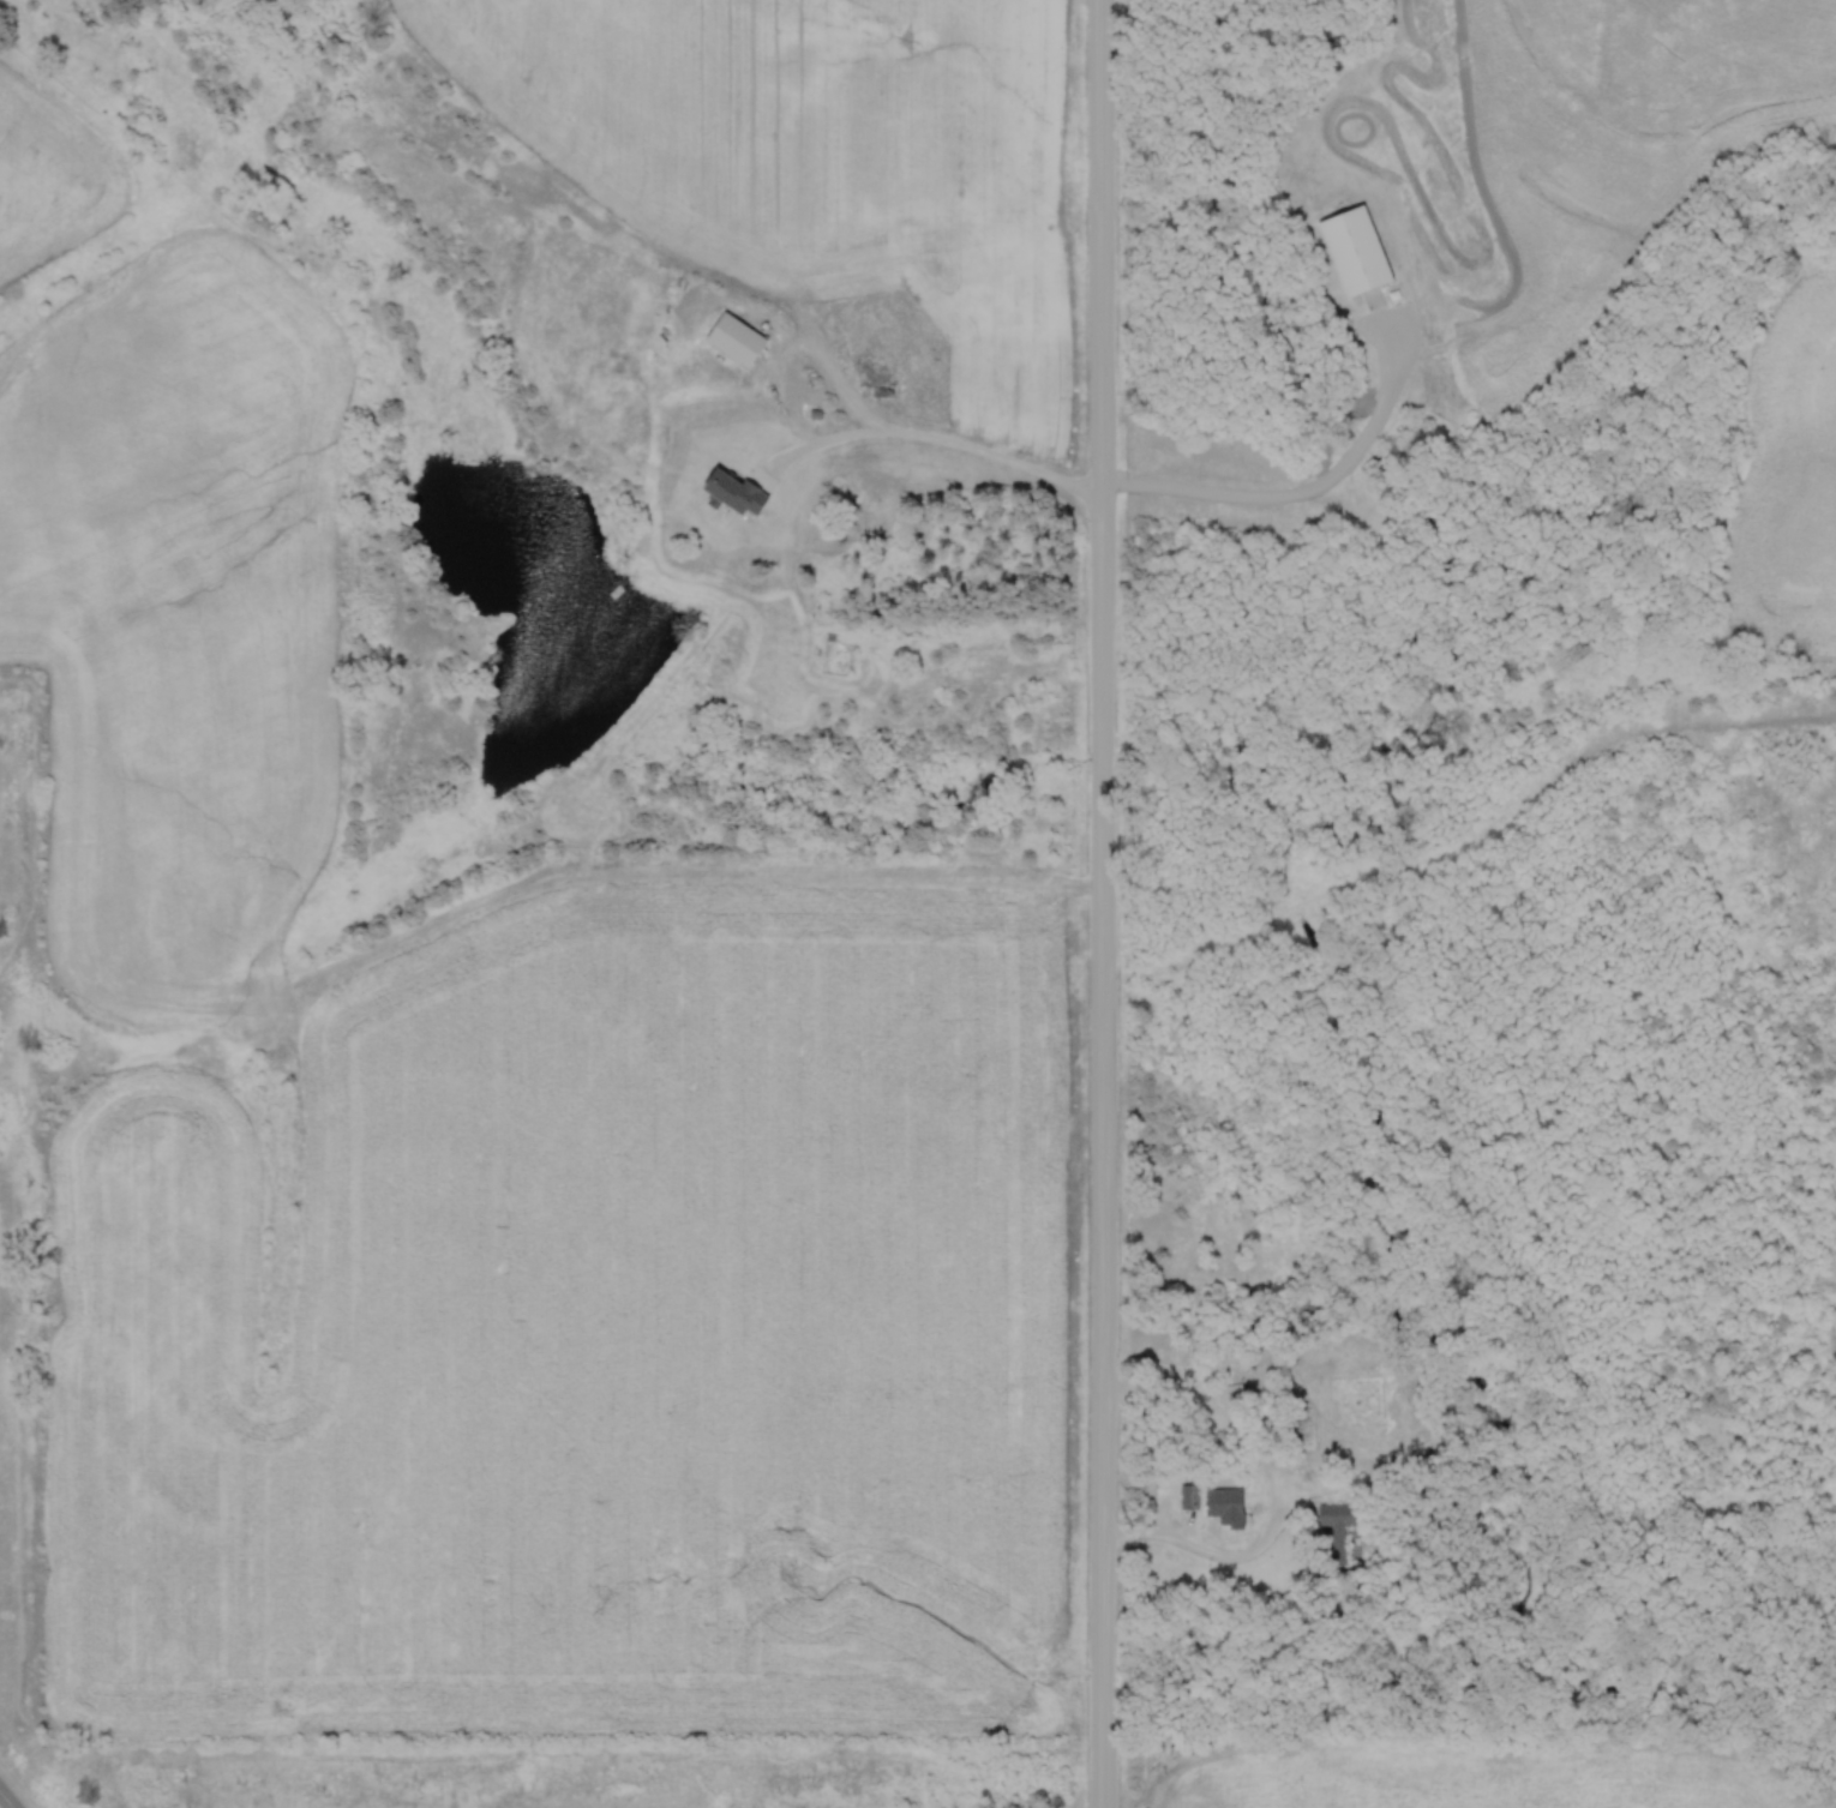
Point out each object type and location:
building: (1350, 252)
road: (930, 437)
road: (1310, 488)
road: (1104, 870)
building: (1190, 1360)
road: (1271, 1488)
building: (1188, 1494)
building: (1340, 1528)
road: (1106, 1774)
road: (7, 1798)

